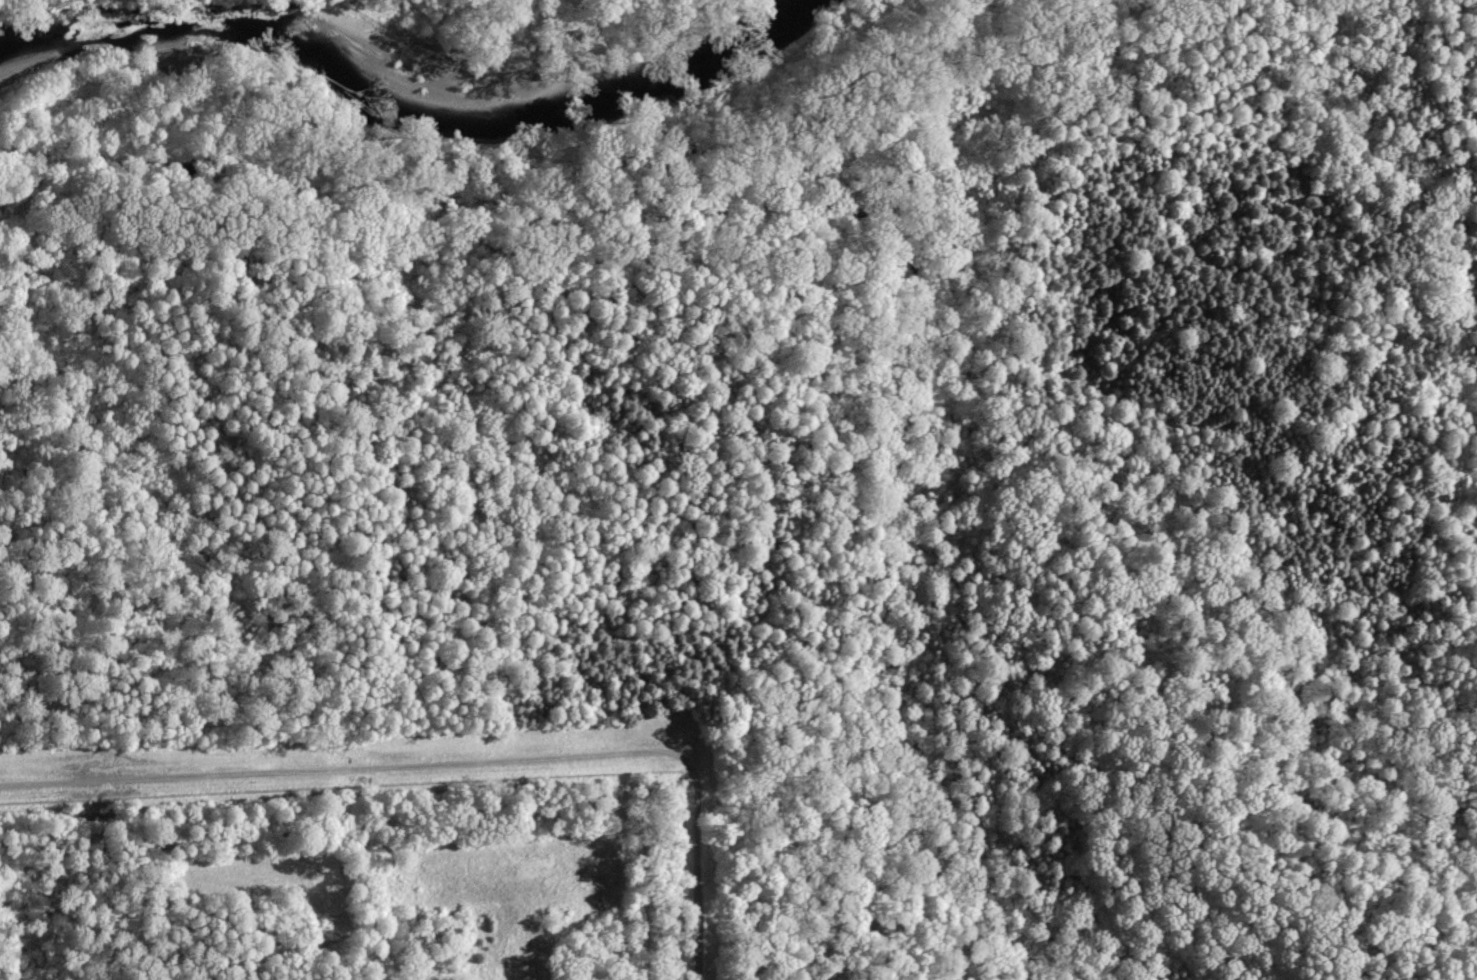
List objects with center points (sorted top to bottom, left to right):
road: (330, 771)
road: (696, 855)

